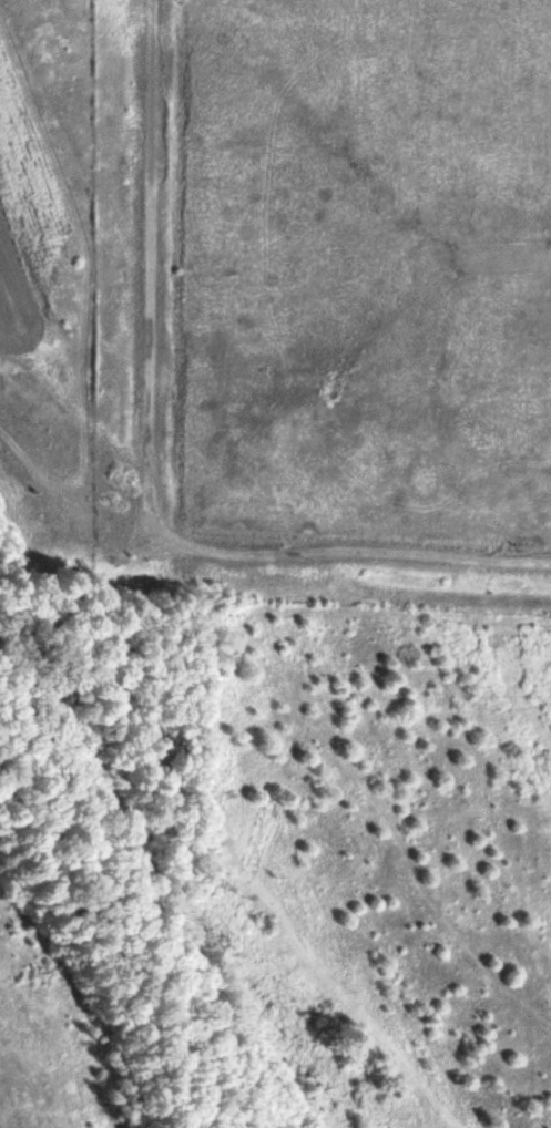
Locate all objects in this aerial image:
landfill: (341, 287)

